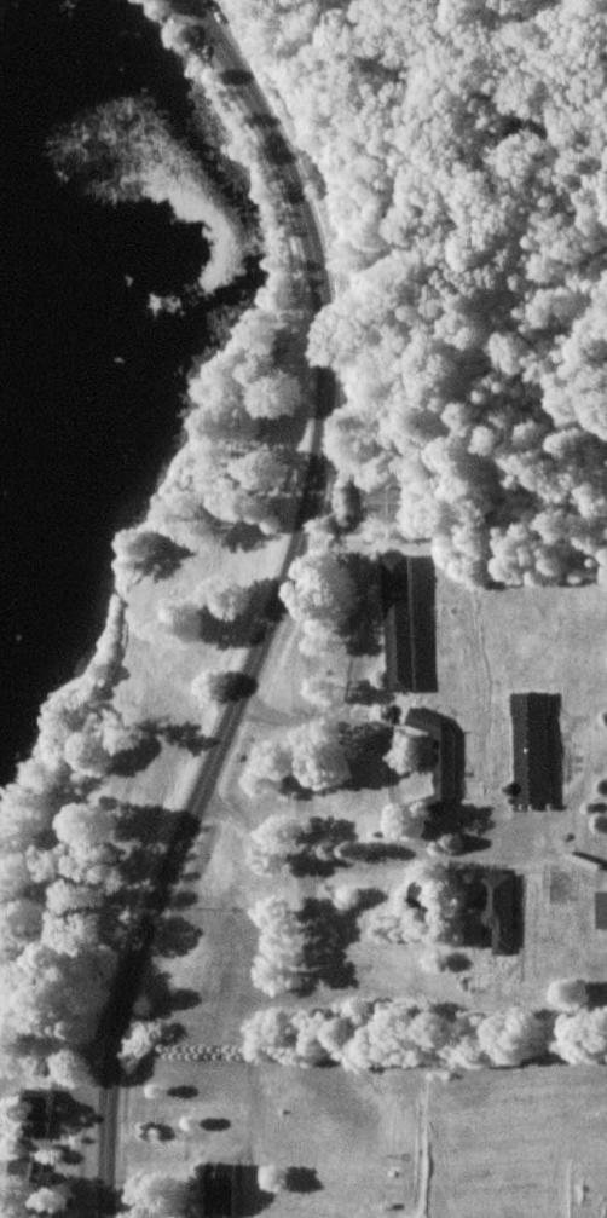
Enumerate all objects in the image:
road: (279, 606)
building: (399, 623)
road: (352, 706)
building: (531, 747)
building: (437, 755)
road: (362, 860)
building: (498, 910)
building: (601, 910)
building: (37, 1113)
building: (28, 1172)
building: (219, 1188)

